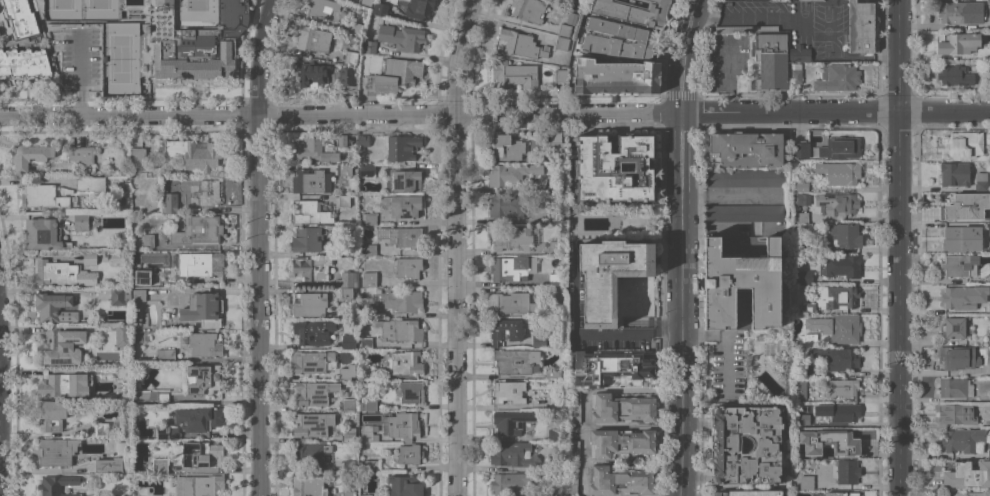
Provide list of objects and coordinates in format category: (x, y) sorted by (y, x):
building: (365, 2)
building: (575, 4)
building: (324, 8)
building: (420, 8)
building: (380, 9)
park: (61, 10)
park: (98, 10)
building: (529, 10)
park: (196, 11)
building: (634, 11)
building: (961, 12)
building: (20, 17)
building: (134, 17)
building: (571, 18)
building: (989, 23)
building: (351, 26)
building: (860, 26)
building: (746, 28)
road: (897, 28)
building: (564, 29)
building: (403, 37)
building: (313, 39)
building: (616, 39)
building: (959, 41)
building: (196, 42)
building: (562, 43)
building: (521, 44)
building: (369, 46)
building: (799, 53)
parking lot: (77, 55)
road: (681, 55)
building: (350, 56)
park: (119, 57)
road: (873, 57)
building: (771, 60)
building: (25, 63)
road: (80, 73)
building: (311, 73)
building: (796, 73)
building: (514, 74)
road: (728, 74)
building: (346, 75)
building: (393, 75)
building: (561, 75)
building: (955, 75)
building: (615, 77)
building: (837, 77)
road: (834, 110)
road: (339, 113)
building: (342, 140)
building: (363, 140)
building: (554, 143)
building: (963, 144)
building: (403, 147)
building: (507, 147)
building: (313, 148)
building: (746, 148)
building: (838, 148)
building: (800, 149)
building: (989, 152)
building: (82, 153)
building: (193, 153)
building: (30, 156)
building: (137, 157)
building: (615, 167)
building: (365, 169)
building: (348, 170)
building: (839, 172)
building: (511, 173)
building: (954, 174)
building: (744, 177)
building: (308, 180)
building: (405, 180)
building: (981, 181)
building: (90, 183)
building: (802, 186)
building: (205, 192)
road: (730, 193)
building: (46, 196)
building: (801, 198)
building: (344, 200)
building: (841, 203)
building: (961, 203)
building: (169, 205)
building: (402, 205)
building: (506, 206)
building: (744, 212)
building: (312, 213)
building: (989, 216)
building: (555, 217)
building: (369, 218)
building: (81, 221)
building: (985, 228)
building: (198, 230)
building: (42, 233)
building: (846, 235)
building: (402, 236)
building: (512, 238)
building: (306, 239)
building: (956, 239)
building: (146, 240)
road: (455, 246)
road: (257, 247)
building: (555, 247)
building: (368, 249)
building: (345, 251)
building: (90, 257)
building: (117, 257)
building: (200, 263)
building: (842, 265)
building: (959, 265)
building: (311, 267)
building: (408, 267)
building: (512, 268)
building: (62, 274)
building: (143, 276)
building: (610, 276)
road: (898, 276)
building: (555, 277)
building: (805, 277)
building: (347, 279)
building: (367, 279)
building: (741, 287)
building: (347, 293)
building: (558, 293)
building: (120, 296)
building: (138, 296)
building: (838, 296)
building: (957, 296)
building: (403, 300)
building: (511, 303)
building: (308, 304)
road: (681, 304)
building: (49, 306)
building: (203, 308)
building: (809, 308)
building: (989, 308)
building: (136, 316)
building: (835, 327)
building: (956, 327)
building: (398, 329)
building: (504, 330)
building: (313, 331)
building: (122, 335)
road: (609, 335)
building: (760, 337)
building: (989, 338)
building: (809, 339)
building: (348, 341)
building: (539, 341)
road: (728, 341)
building: (365, 342)
building: (204, 344)
building: (60, 346)
building: (165, 354)
building: (837, 357)
building: (960, 358)
building: (311, 361)
building: (517, 361)
building: (405, 362)
building: (989, 366)
building: (612, 369)
building: (805, 370)
building: (354, 372)
building: (367, 372)
building: (117, 373)
building: (345, 373)
building: (552, 373)
building: (203, 378)
building: (62, 385)
building: (955, 387)
building: (799, 389)
building: (843, 389)
building: (509, 391)
building: (314, 392)
building: (412, 392)
building: (151, 396)
building: (554, 402)
building: (349, 403)
building: (362, 405)
building: (371, 405)
building: (574, 405)
building: (621, 408)
building: (843, 412)
building: (958, 413)
building: (51, 415)
building: (198, 418)
building: (801, 419)
building: (513, 421)
building: (313, 424)
building: (403, 426)
building: (102, 430)
building: (167, 432)
building: (348, 433)
building: (366, 433)
building: (554, 434)
building: (842, 439)
building: (962, 439)
building: (573, 441)
building: (621, 442)
building: (725, 445)
building: (56, 451)
building: (804, 452)
building: (201, 453)
building: (989, 453)
building: (310, 454)
building: (409, 454)
building: (513, 454)
building: (552, 463)
building: (108, 464)
building: (349, 464)
building: (160, 465)
building: (371, 465)
building: (847, 471)
building: (960, 471)
building: (572, 480)
building: (619, 480)
building: (509, 482)
building: (806, 482)
building: (989, 482)
building: (57, 485)
building: (199, 485)
building: (309, 485)
building: (406, 485)
building: (349, 493)
building: (750, 493)
building: (840, 493)
building: (965, 494)
building: (113, 495)
building: (366, 495)

